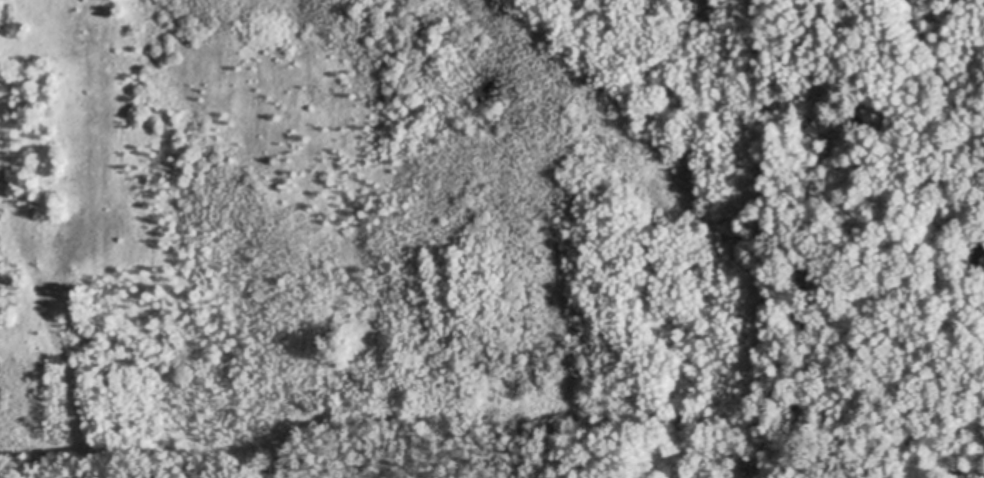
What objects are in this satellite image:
building: (983, 254)
building: (978, 268)

